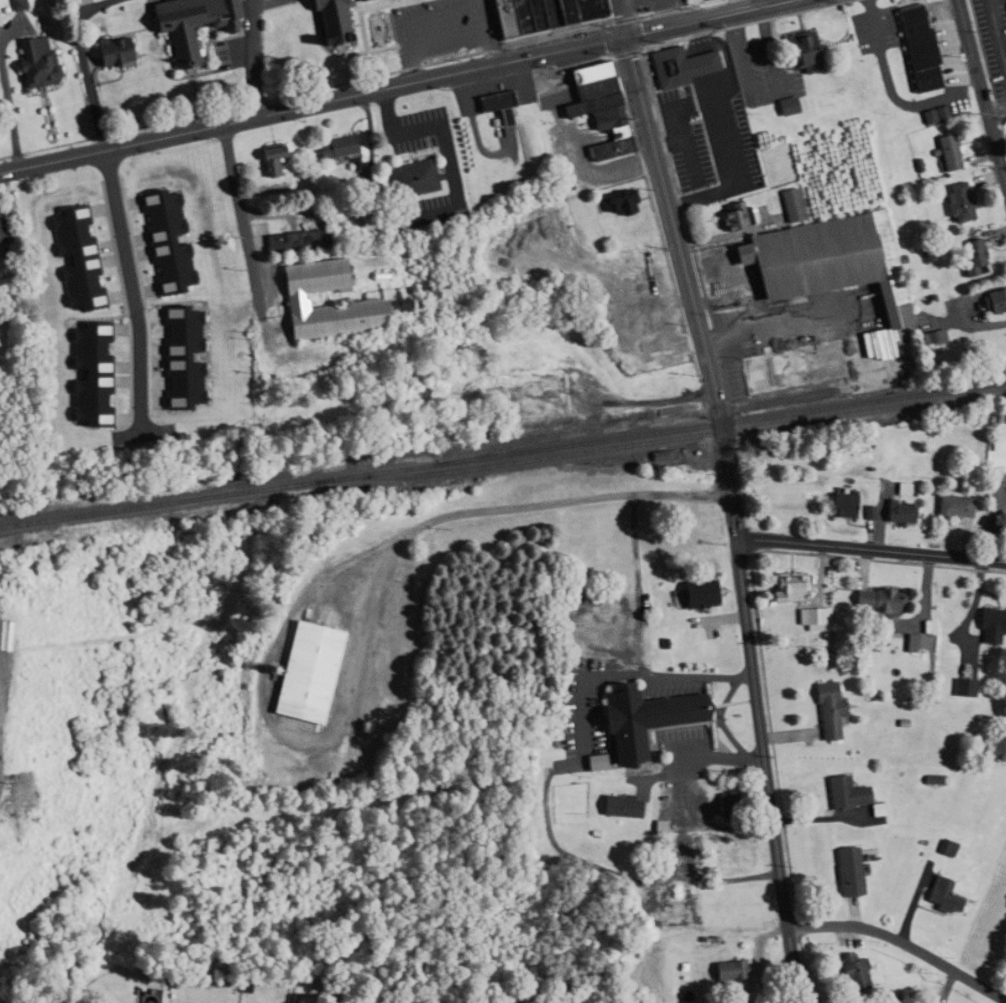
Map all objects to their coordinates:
building: (352, 0)
building: (1005, 2)
building: (11, 5)
building: (538, 14)
building: (324, 21)
building: (184, 23)
road: (484, 30)
road: (996, 34)
road: (411, 37)
building: (914, 48)
building: (797, 50)
building: (107, 52)
road: (521, 54)
road: (253, 58)
road: (86, 61)
road: (414, 62)
building: (31, 63)
building: (676, 67)
road: (883, 77)
road: (980, 99)
building: (491, 102)
road: (994, 105)
building: (596, 106)
building: (784, 106)
road: (128, 144)
building: (333, 147)
building: (945, 152)
building: (268, 162)
building: (409, 179)
building: (618, 203)
building: (956, 203)
road: (670, 211)
road: (239, 217)
building: (733, 217)
building: (278, 243)
building: (971, 258)
road: (130, 285)
building: (994, 301)
building: (366, 302)
building: (890, 314)
building: (521, 399)
railway: (503, 454)
building: (839, 503)
building: (952, 505)
building: (897, 510)
road: (872, 548)
building: (783, 587)
building: (694, 592)
building: (875, 598)
building: (809, 615)
building: (989, 624)
road: (365, 635)
building: (912, 642)
building: (302, 670)
building: (964, 687)
building: (823, 709)
road: (759, 713)
building: (637, 722)
road: (698, 760)
building: (841, 792)
building: (618, 805)
building: (946, 848)
building: (729, 855)
building: (843, 870)
building: (940, 894)
road: (902, 942)
building: (726, 970)
building: (850, 972)

